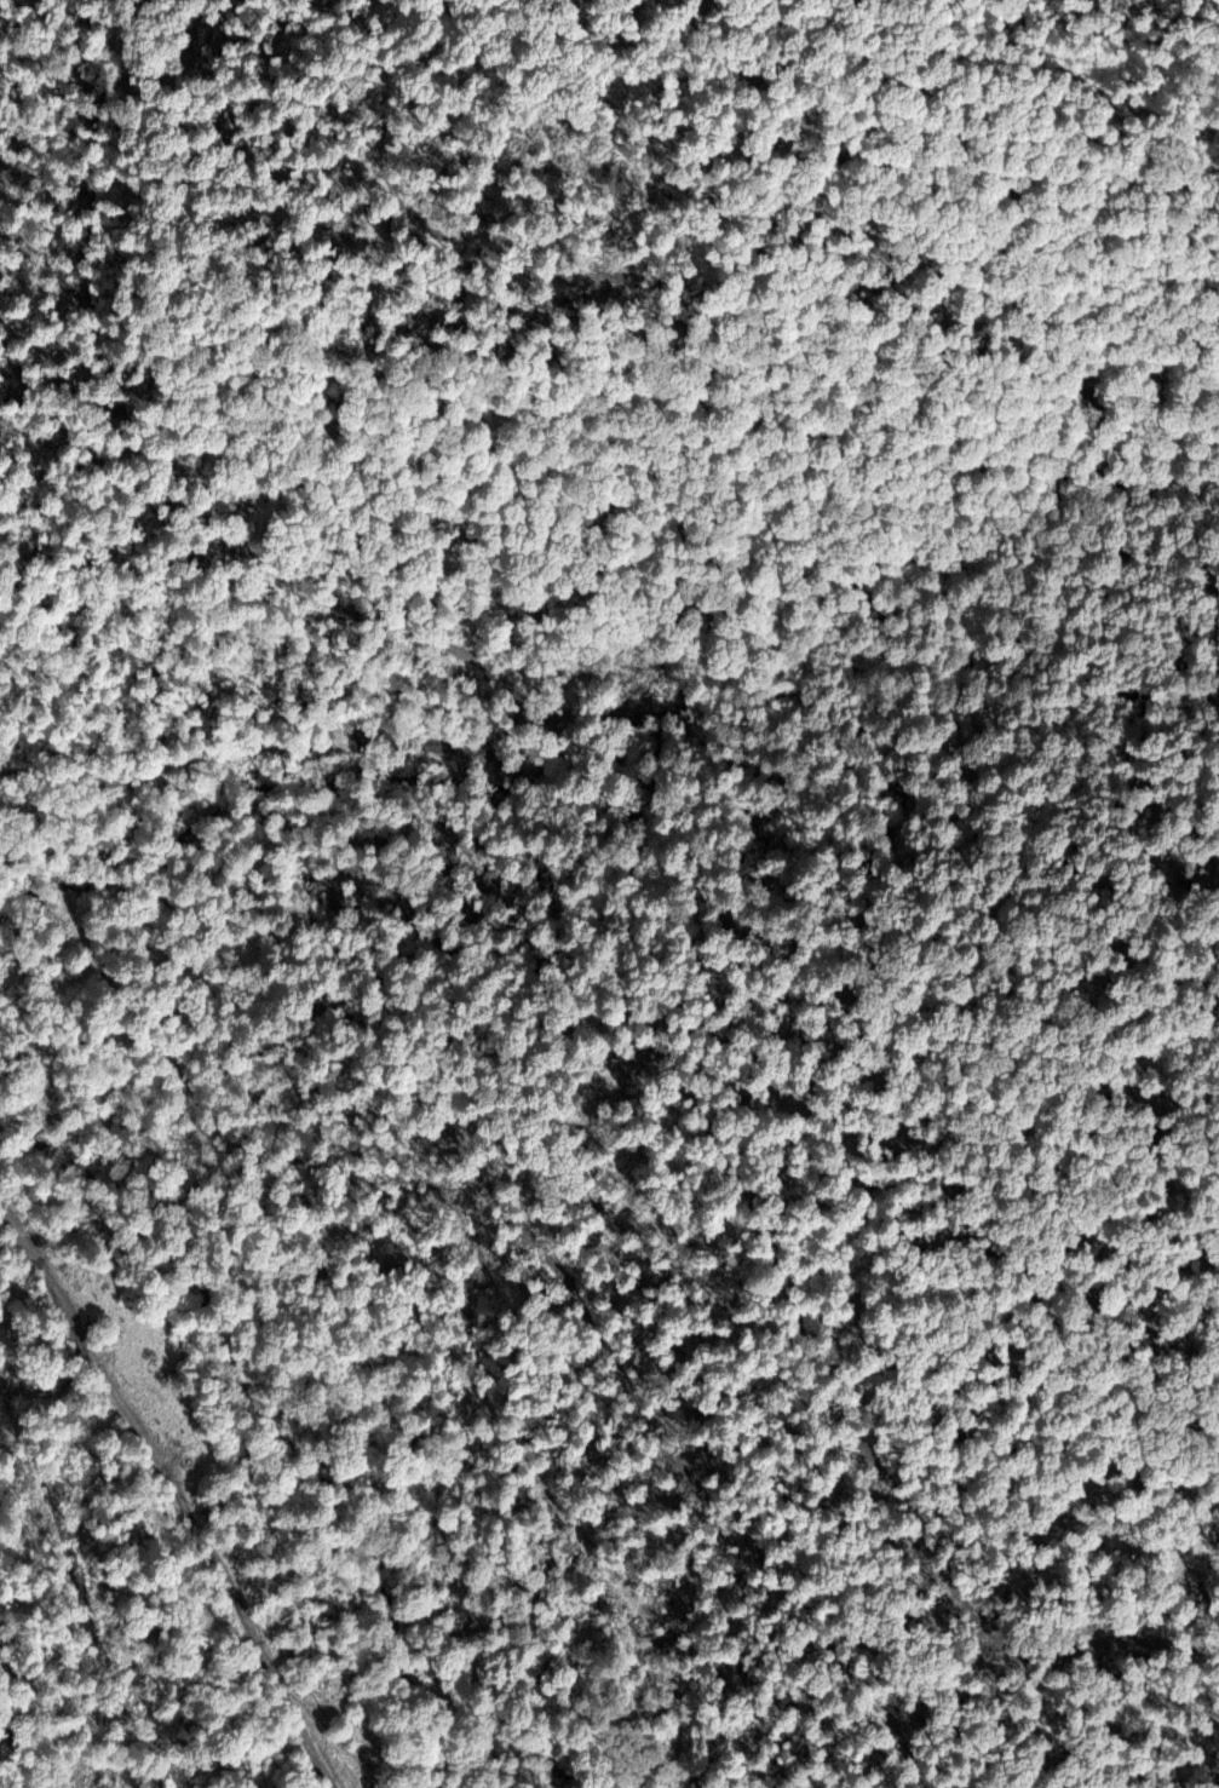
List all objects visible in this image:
road: (1091, 96)

